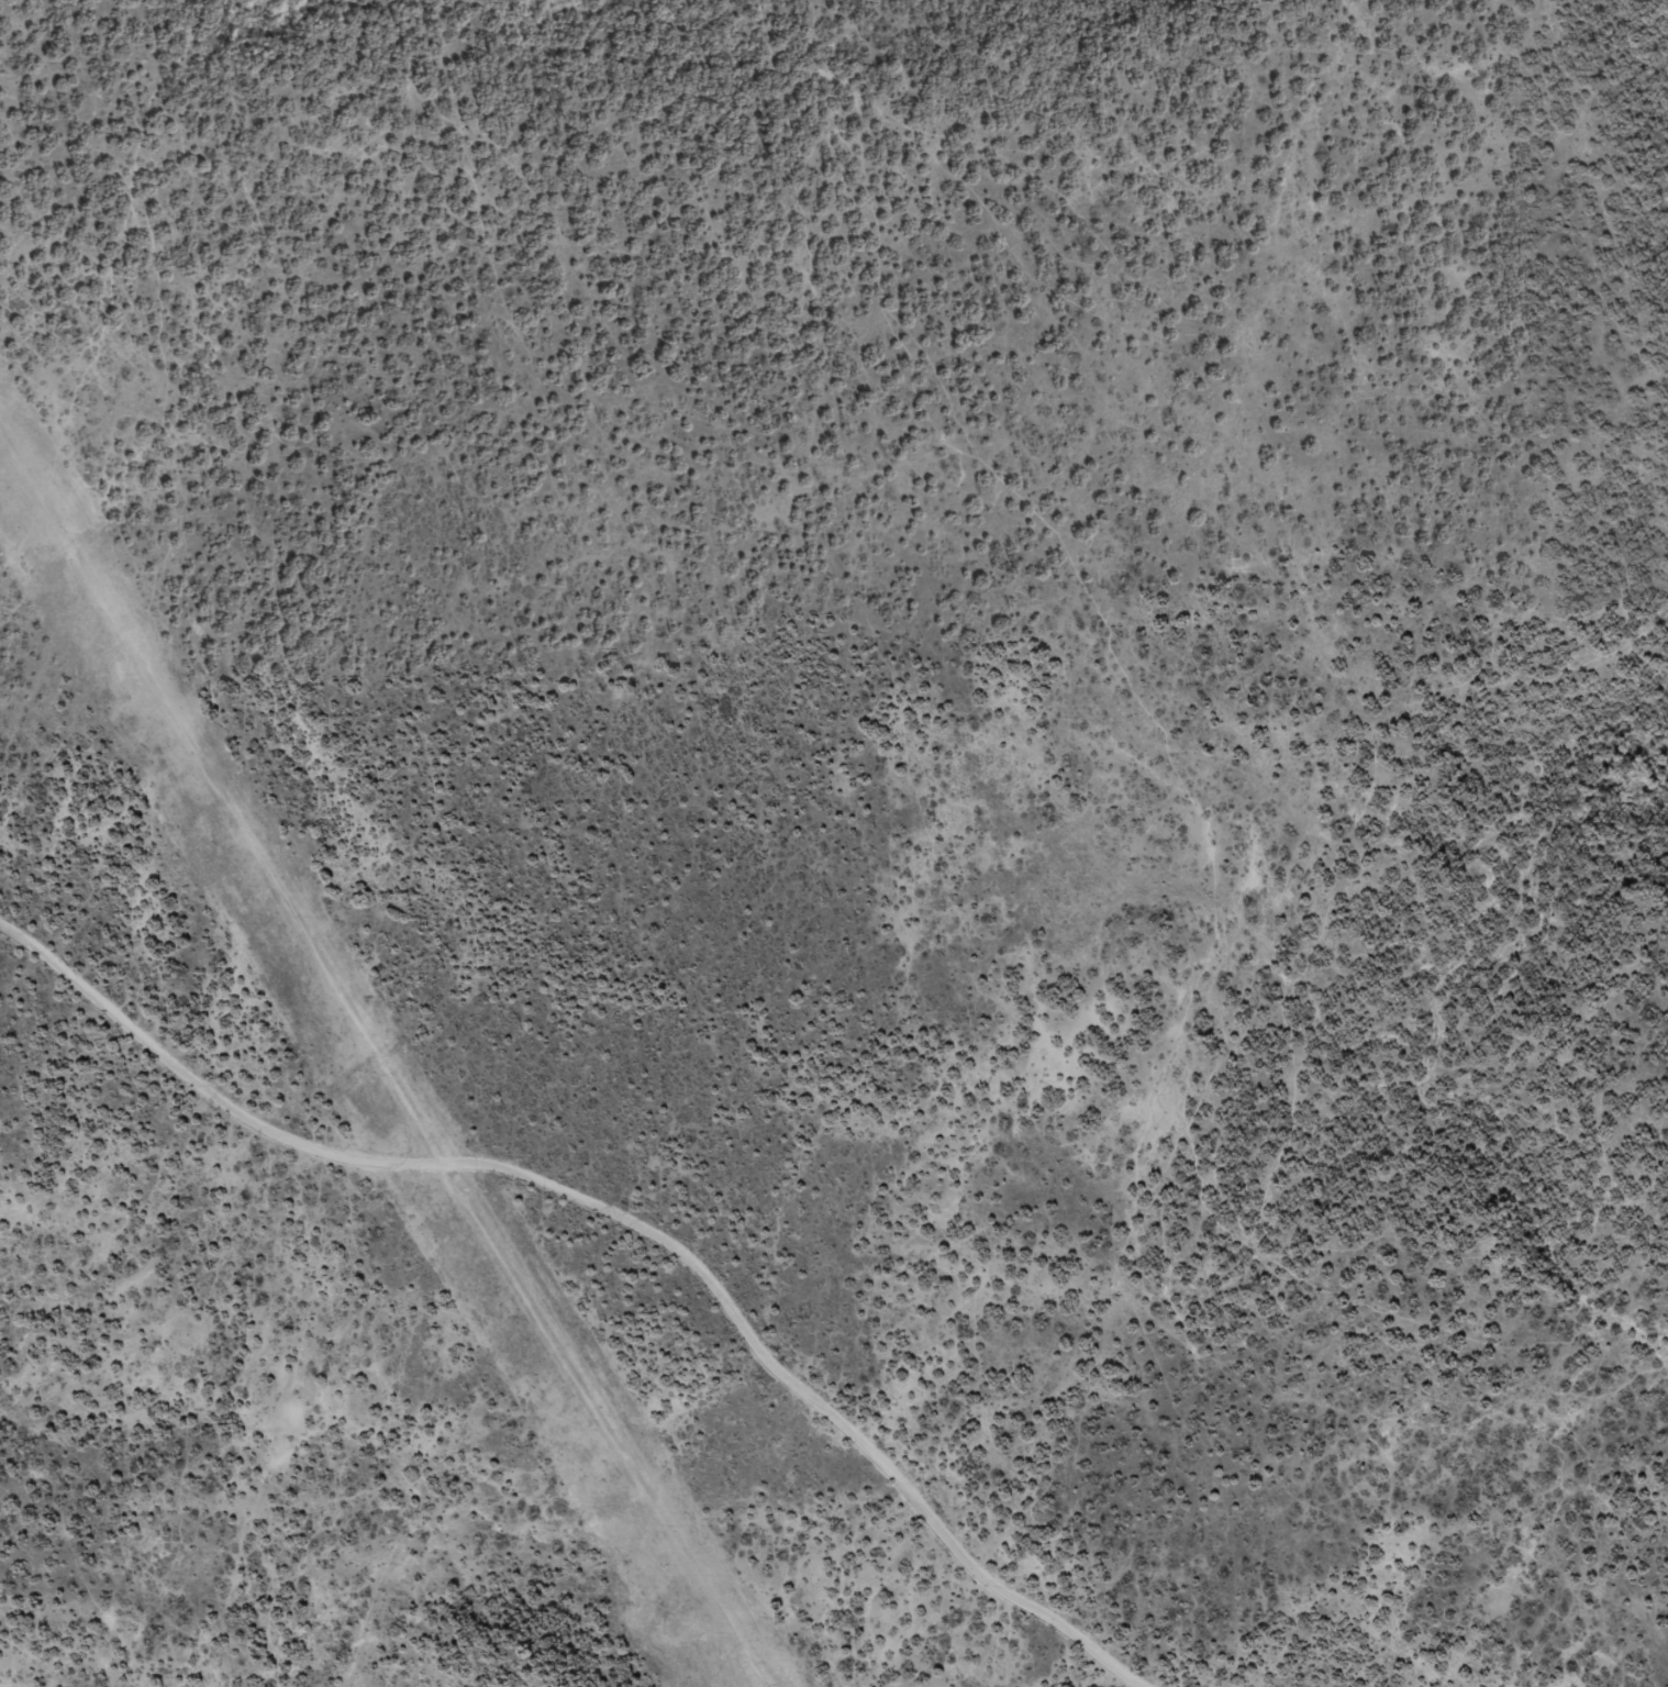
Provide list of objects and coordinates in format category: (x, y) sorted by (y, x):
road: (630, 1240)

